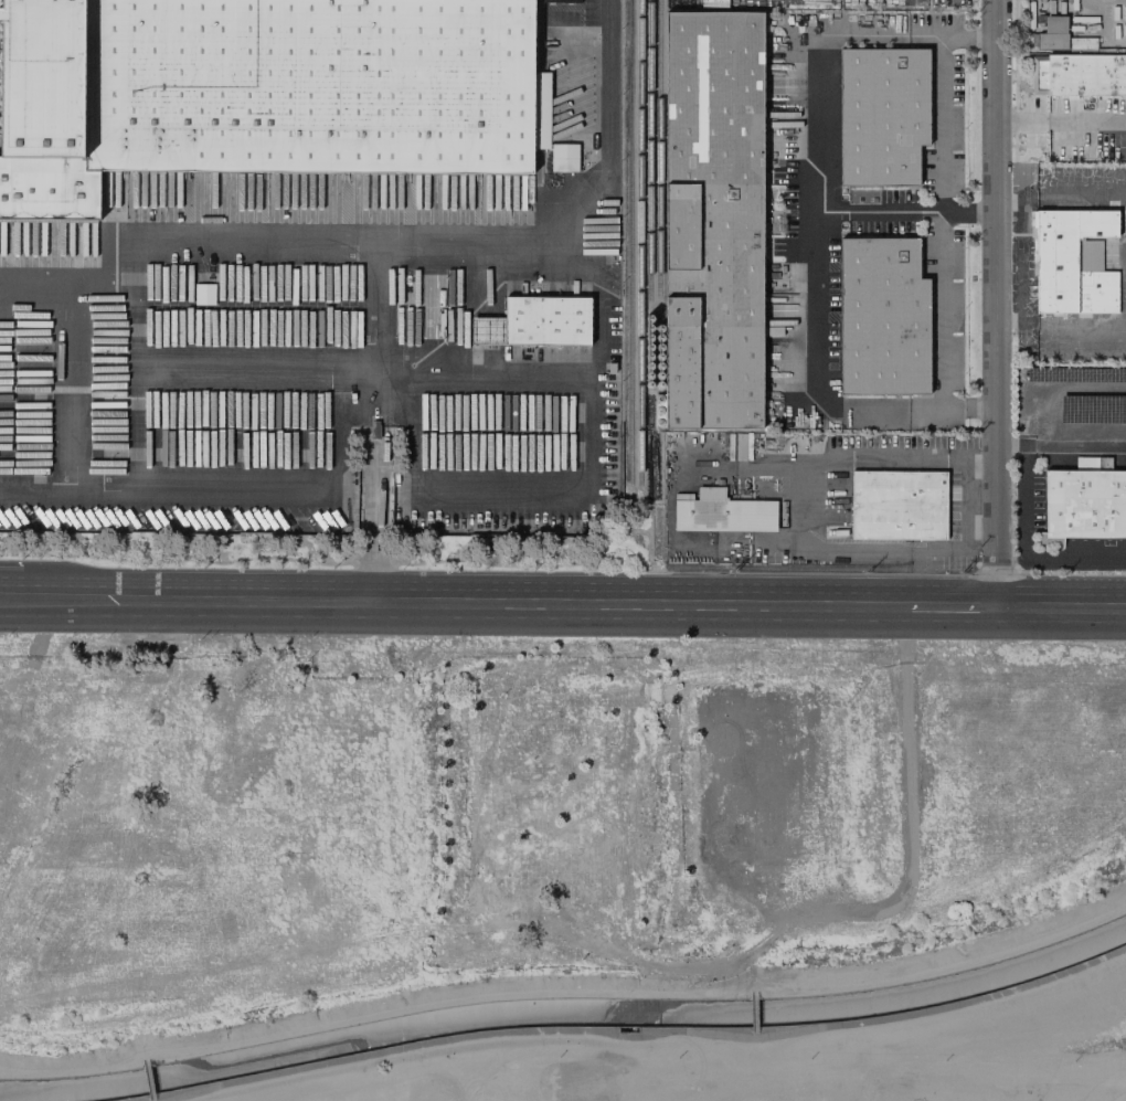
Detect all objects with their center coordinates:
building: (1052, 33)
road: (907, 39)
building: (1077, 74)
building: (254, 89)
building: (884, 116)
road: (1061, 120)
railway: (648, 152)
railway: (659, 152)
building: (563, 157)
road: (1043, 187)
road: (580, 211)
road: (906, 214)
building: (715, 221)
road: (818, 223)
road: (943, 224)
railway: (629, 242)
railway: (639, 242)
building: (1124, 258)
building: (1073, 261)
road: (997, 304)
road: (374, 309)
building: (885, 318)
building: (545, 320)
road: (1087, 328)
building: (485, 330)
road: (906, 409)
road: (1074, 447)
road: (373, 495)
road: (34, 497)
road: (966, 497)
building: (1083, 504)
building: (897, 505)
building: (721, 511)
road: (1023, 538)
road: (9, 594)
road: (508, 601)
road: (1058, 607)
road: (1122, 607)
road: (567, 987)
road: (634, 1033)

